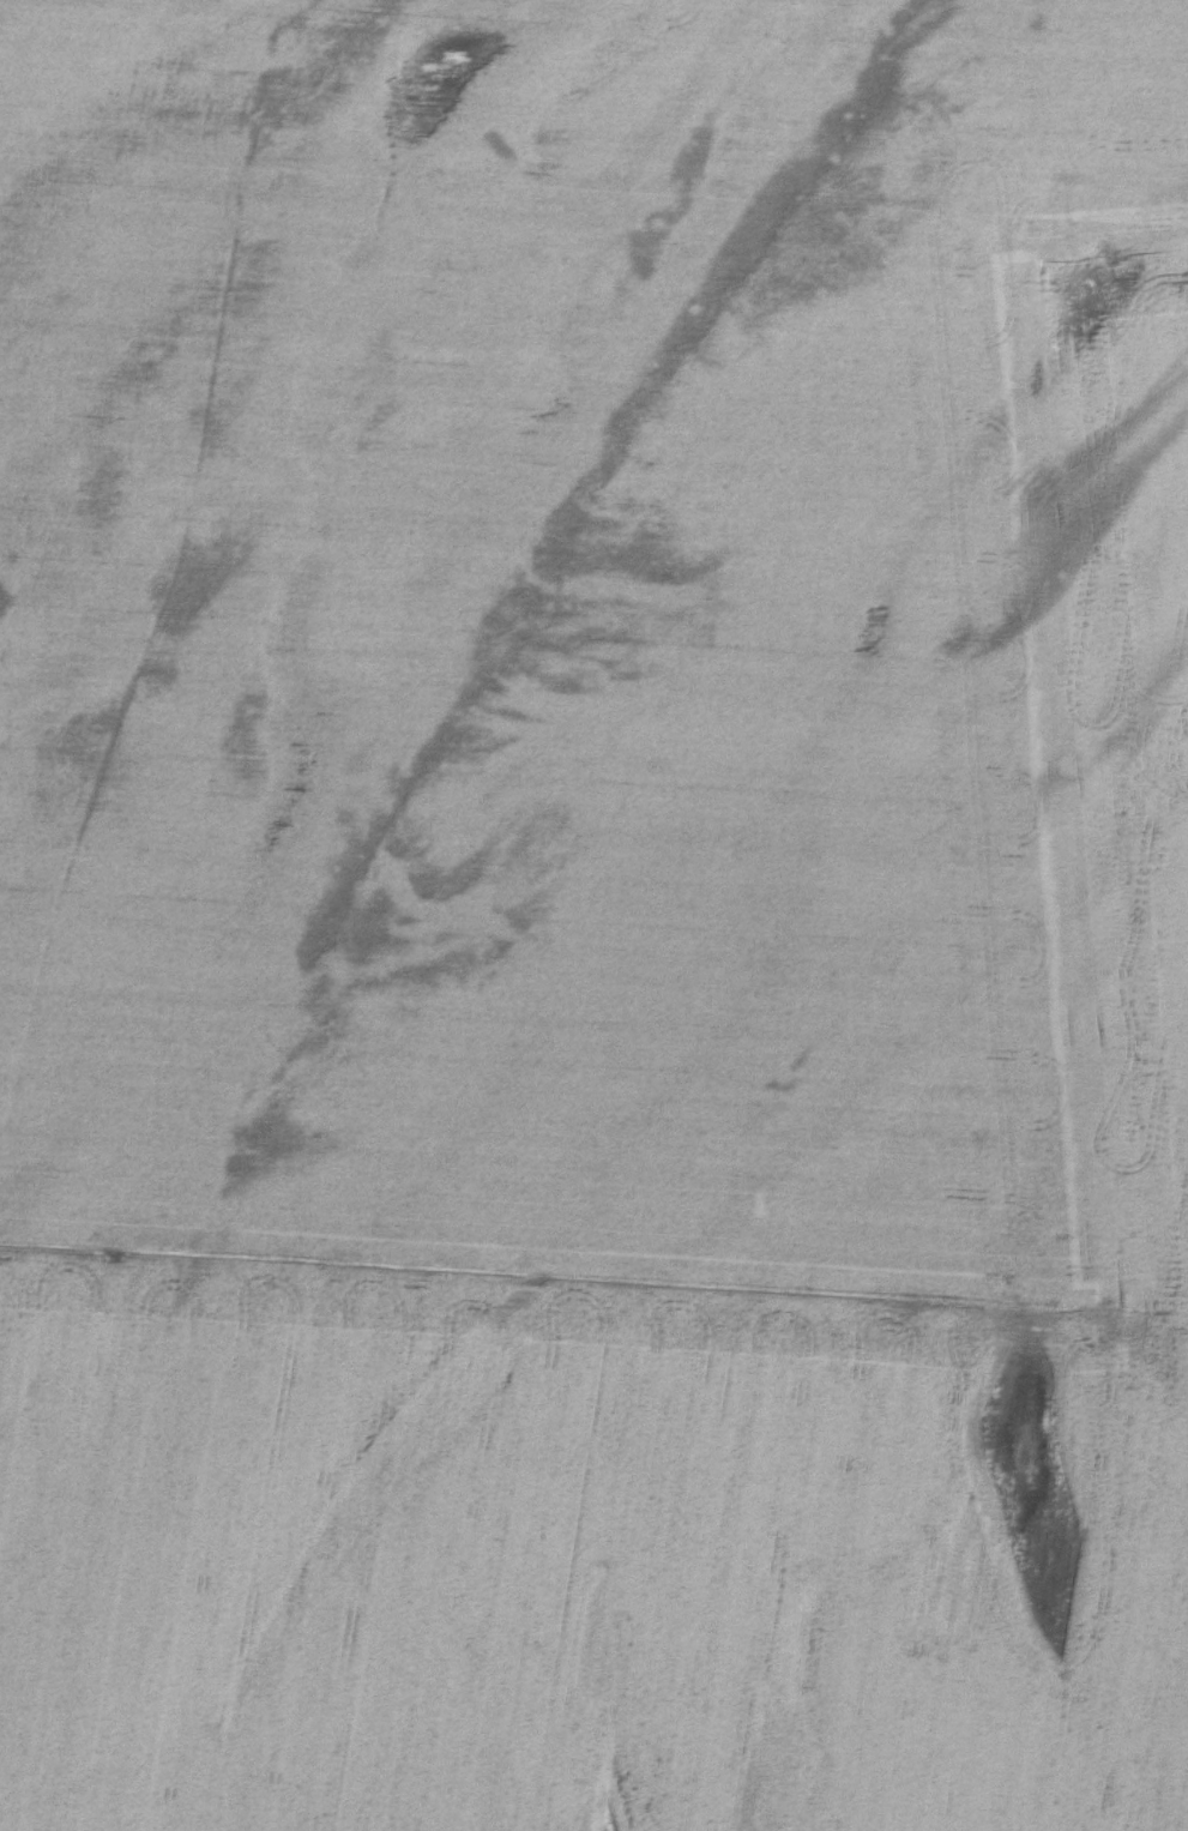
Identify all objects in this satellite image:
crop: (593, 915)

